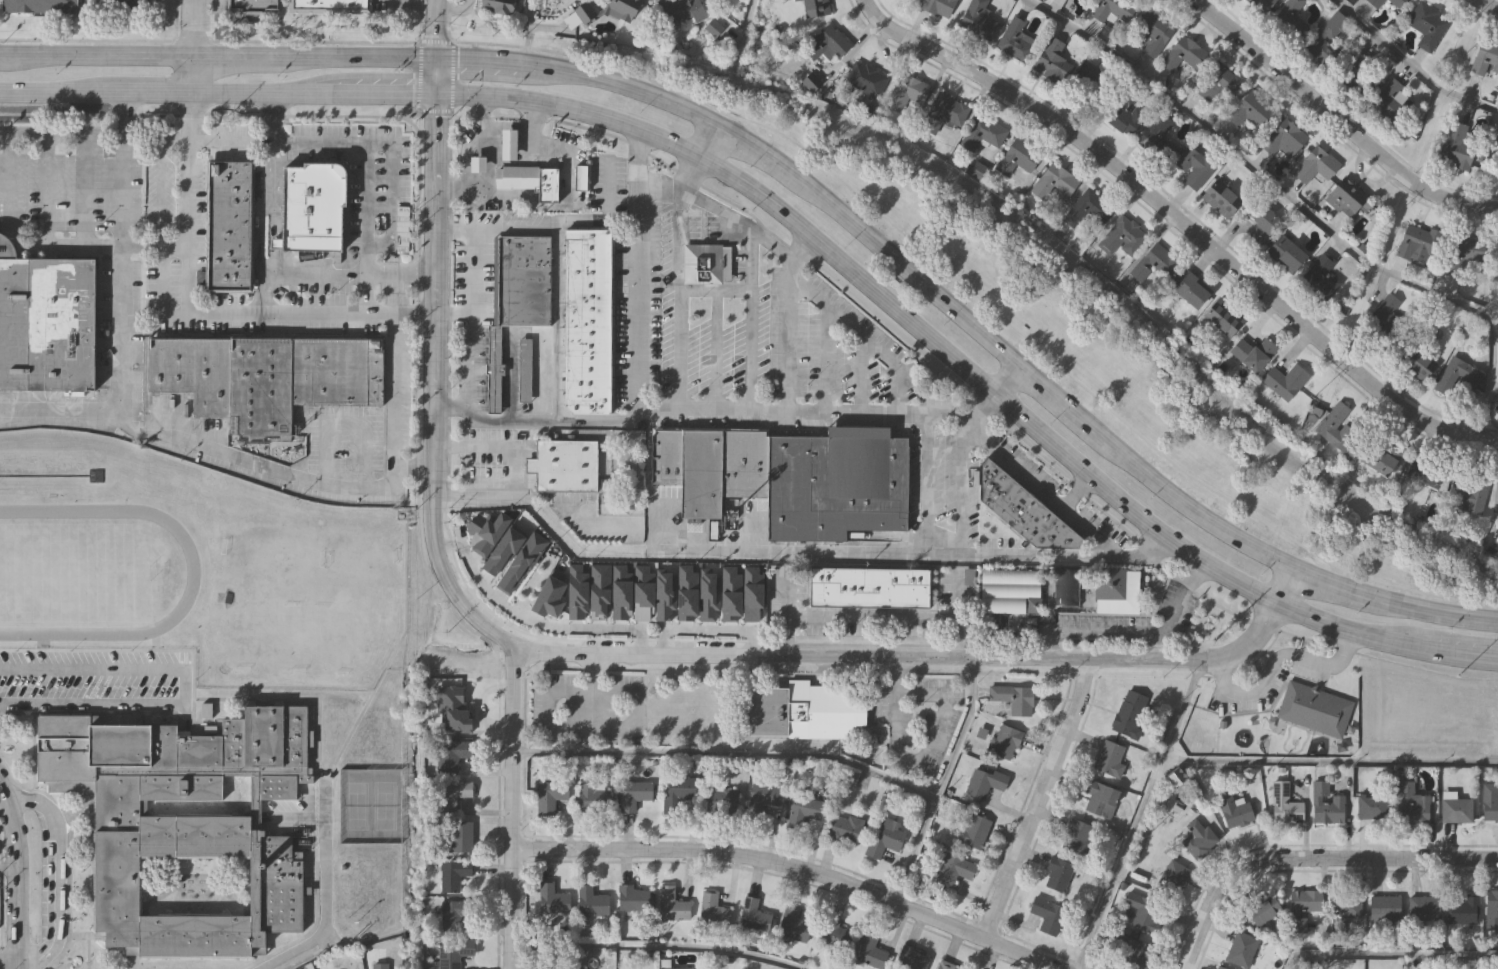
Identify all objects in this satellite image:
building: (1066, 0)
road: (1479, 1)
building: (1375, 2)
road: (469, 3)
building: (1398, 3)
building: (127, 4)
building: (1261, 4)
building: (39, 5)
building: (255, 5)
building: (332, 5)
building: (501, 5)
building: (939, 6)
road: (1486, 6)
building: (815, 7)
building: (1113, 8)
road: (452, 9)
building: (624, 9)
building: (684, 9)
building: (586, 12)
building: (1290, 19)
building: (977, 20)
building: (1427, 24)
road: (525, 31)
building: (1149, 31)
road: (742, 33)
building: (1328, 34)
building: (1014, 39)
building: (827, 42)
road: (192, 47)
traffic signals: (436, 53)
building: (1485, 57)
building: (1052, 60)
road: (1410, 63)
building: (1361, 69)
building: (1204, 71)
building: (866, 78)
building: (1091, 78)
building: (907, 94)
traffic signals: (435, 96)
building: (1389, 99)
building: (1251, 110)
building: (943, 111)
building: (1124, 111)
road: (1337, 119)
building: (982, 132)
road: (59, 135)
building: (1161, 135)
road: (233, 136)
building: (1286, 137)
building: (508, 145)
gas station: (508, 145)
building: (1455, 145)
building: (1018, 156)
building: (475, 164)
gas station: (475, 164)
building: (1315, 164)
building: (1193, 165)
road: (158, 176)
building: (514, 177)
building: (579, 177)
road: (806, 181)
building: (1054, 182)
building: (546, 183)
road: (85, 188)
road: (392, 192)
road: (366, 195)
building: (1344, 196)
building: (1220, 197)
road: (265, 203)
building: (311, 206)
road: (715, 208)
road: (1302, 208)
building: (1088, 211)
road: (1183, 220)
building: (231, 224)
building: (1263, 227)
road: (491, 230)
road: (800, 232)
building: (1122, 236)
building: (1415, 241)
road: (67, 245)
road: (153, 245)
road: (7, 246)
building: (1468, 250)
building: (1285, 252)
building: (704, 262)
building: (1153, 262)
road: (312, 272)
road: (398, 272)
building: (1323, 274)
road: (676, 277)
building: (524, 279)
building: (1190, 288)
road: (187, 290)
road: (713, 290)
road: (259, 292)
building: (1385, 309)
road: (120, 313)
road: (451, 313)
building: (1221, 317)
building: (590, 319)
road: (750, 319)
building: (46, 322)
road: (471, 322)
road: (863, 335)
road: (787, 336)
road: (430, 337)
park: (1083, 338)
road: (717, 349)
building: (1252, 352)
building: (1413, 360)
building: (495, 367)
building: (526, 369)
building: (266, 374)
building: (1285, 380)
building: (1457, 380)
road: (395, 395)
road: (699, 407)
road: (531, 420)
building: (1334, 422)
building: (664, 454)
building: (743, 462)
building: (1382, 462)
building: (566, 463)
road: (270, 467)
road: (520, 468)
building: (700, 472)
building: (1423, 473)
building: (835, 482)
road: (927, 483)
road: (964, 487)
road: (1075, 491)
building: (1468, 495)
road: (1061, 507)
building: (1023, 508)
building: (485, 531)
building: (503, 549)
road: (886, 551)
building: (521, 562)
track: (89, 572)
park: (78, 573)
building: (871, 587)
building: (1066, 587)
building: (1006, 589)
building: (1113, 590)
building: (598, 591)
building: (576, 592)
building: (620, 593)
building: (642, 593)
building: (686, 593)
building: (752, 593)
building: (708, 594)
building: (730, 594)
building: (549, 595)
building: (664, 595)
road: (1179, 599)
road: (870, 617)
road: (530, 619)
road: (704, 629)
road: (1102, 632)
road: (926, 657)
road: (1275, 662)
road: (190, 687)
building: (1014, 700)
building: (1315, 707)
building: (803, 708)
building: (451, 710)
building: (1490, 711)
building: (1130, 715)
building: (1004, 743)
road: (725, 754)
building: (452, 755)
road: (915, 759)
building: (1109, 760)
road: (1329, 762)
road: (938, 780)
building: (983, 784)
building: (634, 795)
building: (678, 795)
building: (451, 796)
building: (550, 796)
building: (765, 797)
building: (1100, 799)
building: (592, 800)
building: (725, 801)
road: (1036, 801)
building: (1487, 804)
park: (370, 806)
road: (511, 806)
building: (1284, 806)
building: (1327, 806)
building: (1412, 806)
building: (1373, 808)
building: (805, 809)
building: (1454, 810)
building: (1234, 812)
road: (1138, 814)
building: (185, 821)
building: (844, 830)
building: (972, 831)
building: (1076, 837)
building: (459, 838)
building: (885, 839)
building: (1199, 841)
road: (1310, 858)
road: (793, 866)
road: (7, 869)
building: (954, 871)
road: (54, 875)
building: (1058, 875)
building: (453, 876)
building: (1172, 878)
road: (15, 879)
road: (323, 897)
building: (632, 900)
building: (552, 902)
building: (1306, 903)
building: (592, 904)
building: (672, 906)
building: (1347, 908)
building: (1264, 909)
building: (1424, 910)
building: (1462, 911)
building: (1491, 911)
building: (713, 912)
building: (1385, 912)
building: (1144, 913)
building: (455, 914)
building: (1047, 916)
building: (753, 917)
building: (793, 927)
building: (835, 937)
road: (343, 947)
road: (654, 947)
building: (1241, 950)
building: (1127, 951)
building: (870, 953)
road: (1386, 954)
building: (453, 955)
building: (911, 960)
road: (9, 962)
building: (379, 966)
building: (945, 966)
building: (1219, 968)

